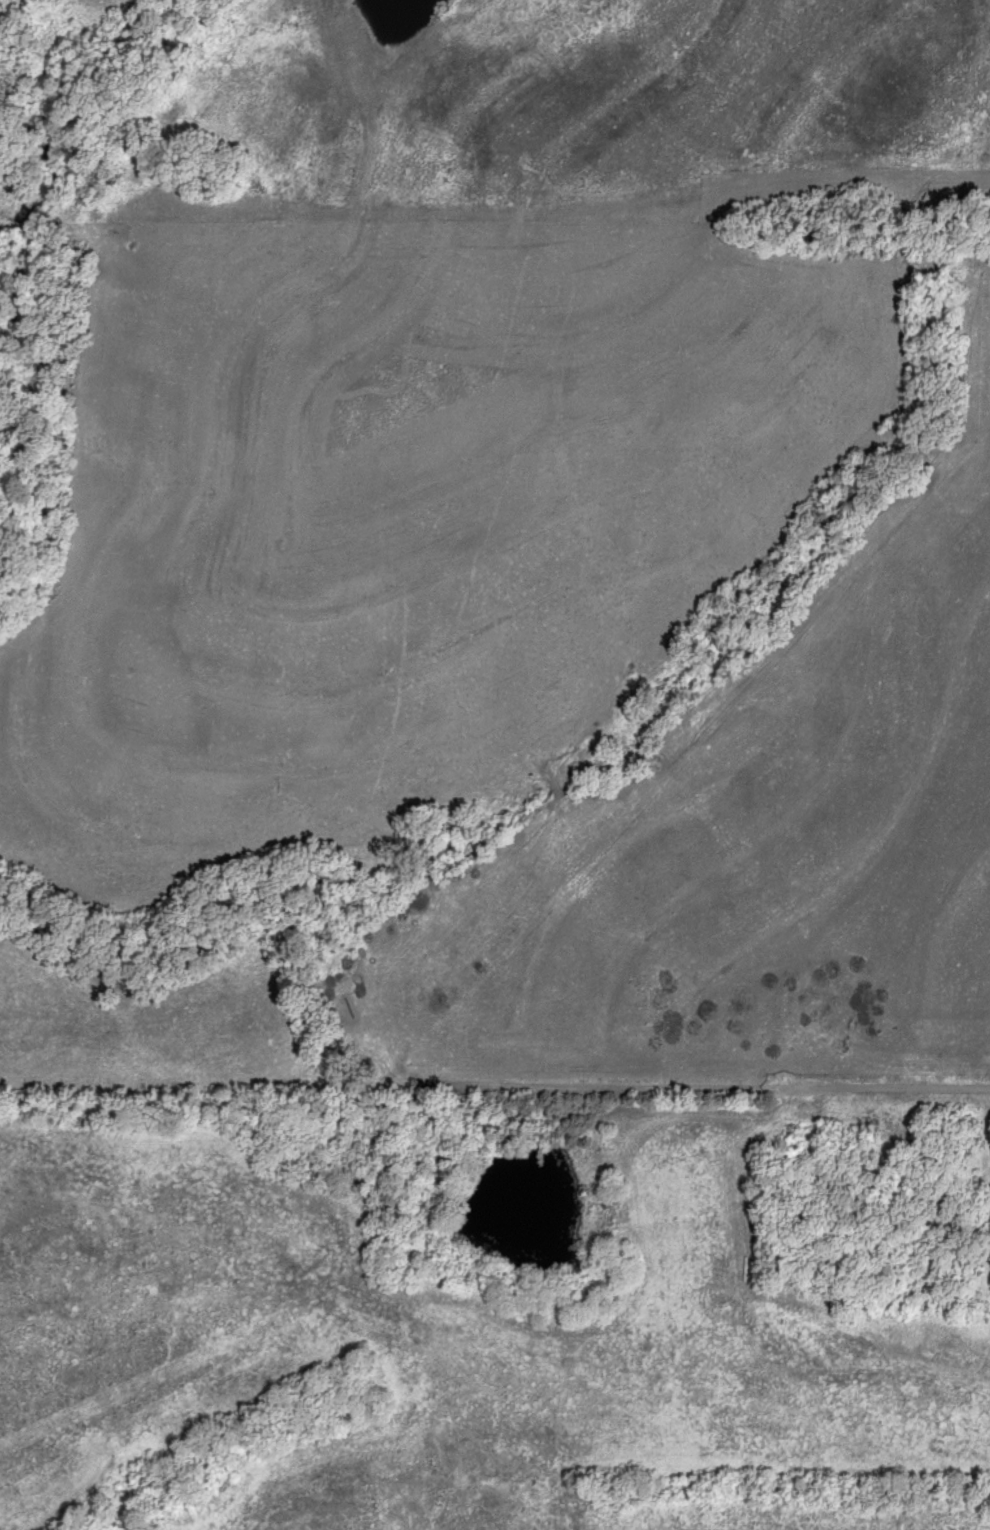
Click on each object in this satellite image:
road: (495, 1050)

